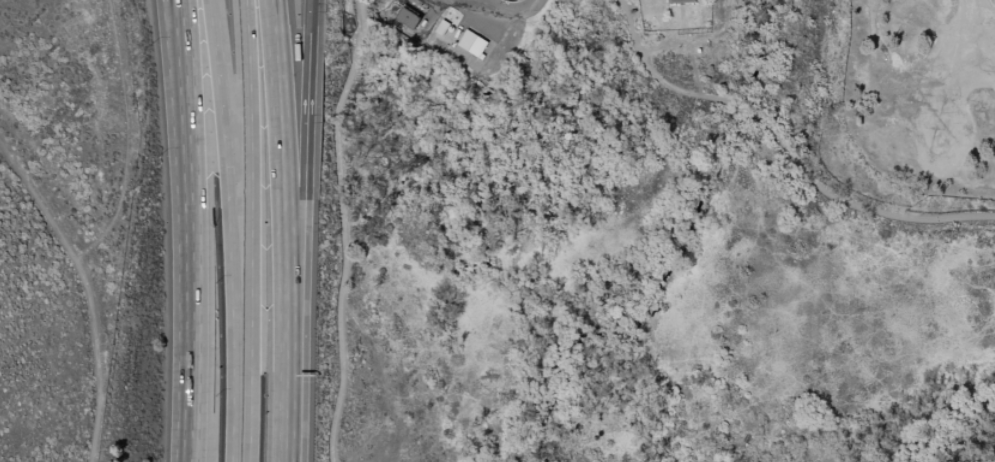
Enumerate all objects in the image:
building: (680, 1)
road: (662, 7)
road: (509, 9)
road: (179, 13)
road: (180, 13)
building: (408, 18)
building: (472, 44)
road: (685, 48)
park: (924, 92)
road: (129, 138)
road: (784, 145)
road: (288, 175)
road: (302, 176)
road: (341, 229)
road: (233, 230)
road: (253, 230)
road: (192, 243)
park: (643, 251)
road: (89, 290)
road: (292, 407)

